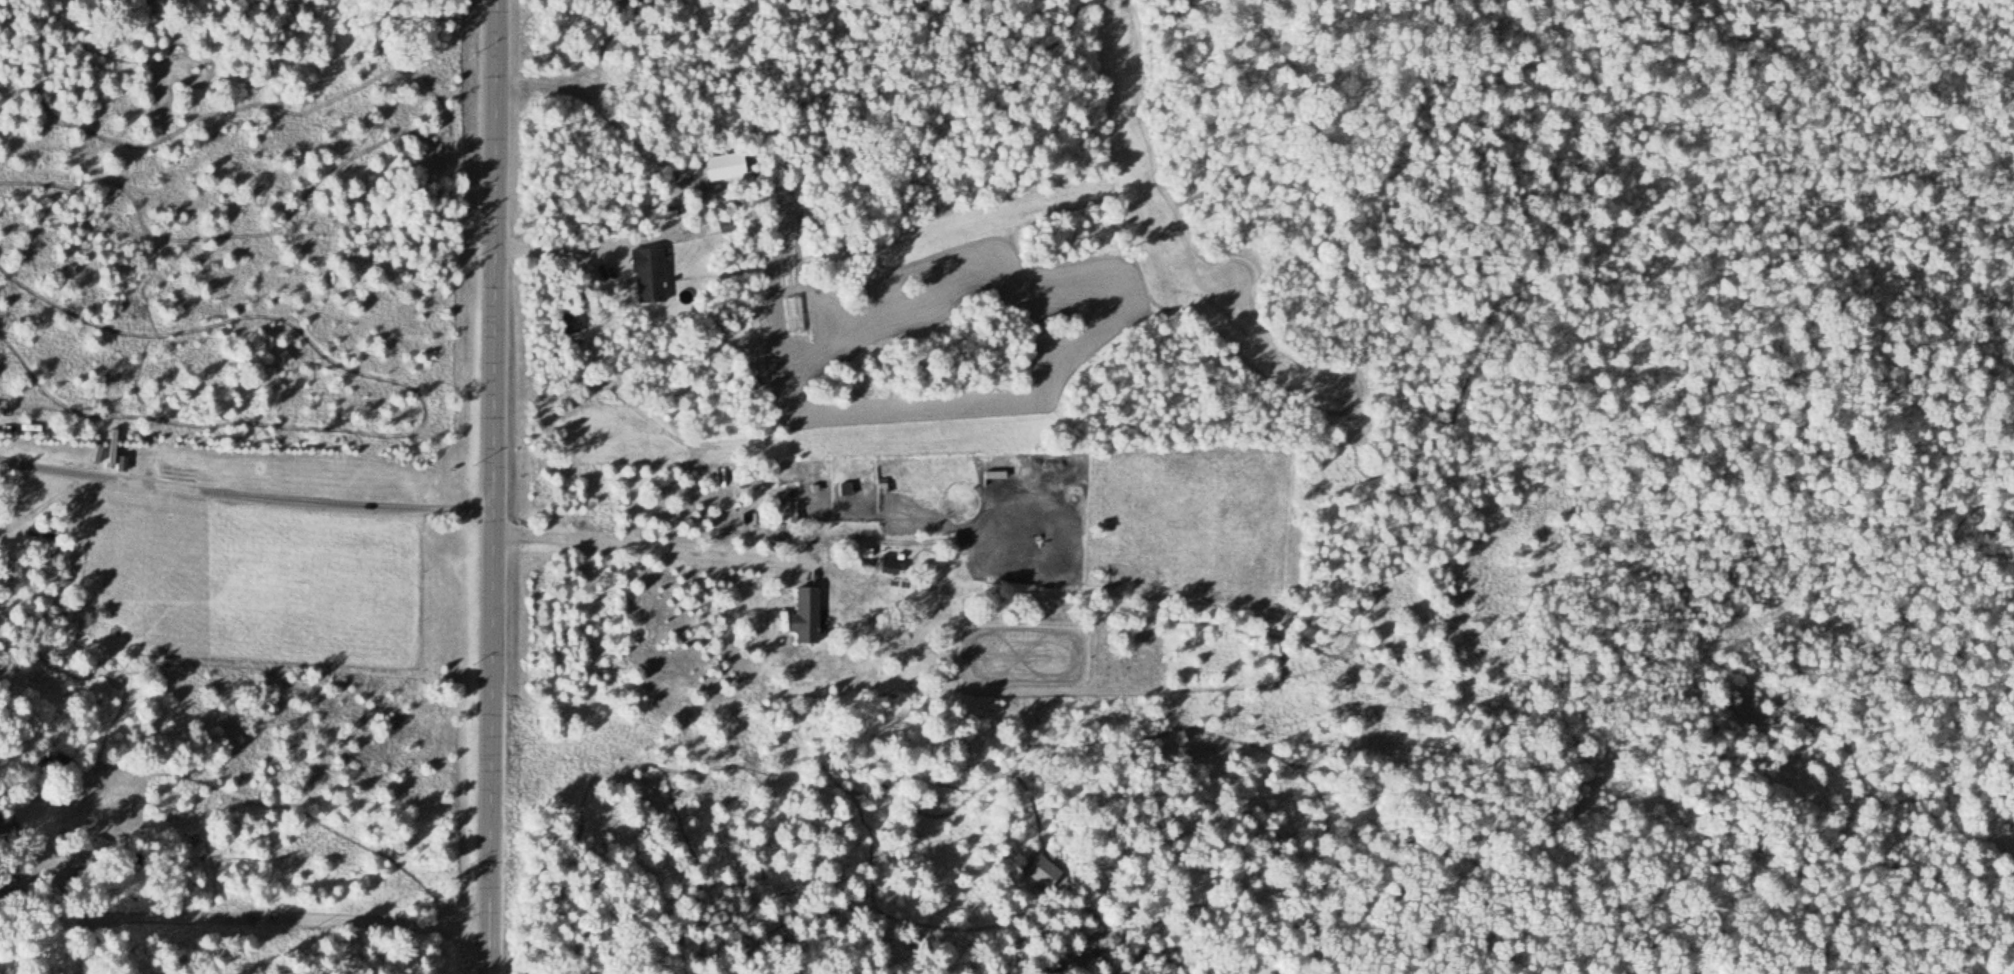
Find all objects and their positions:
building: (722, 165)
building: (646, 274)
building: (570, 322)
building: (122, 463)
building: (995, 474)
road: (494, 487)
building: (805, 615)
building: (72, 852)

